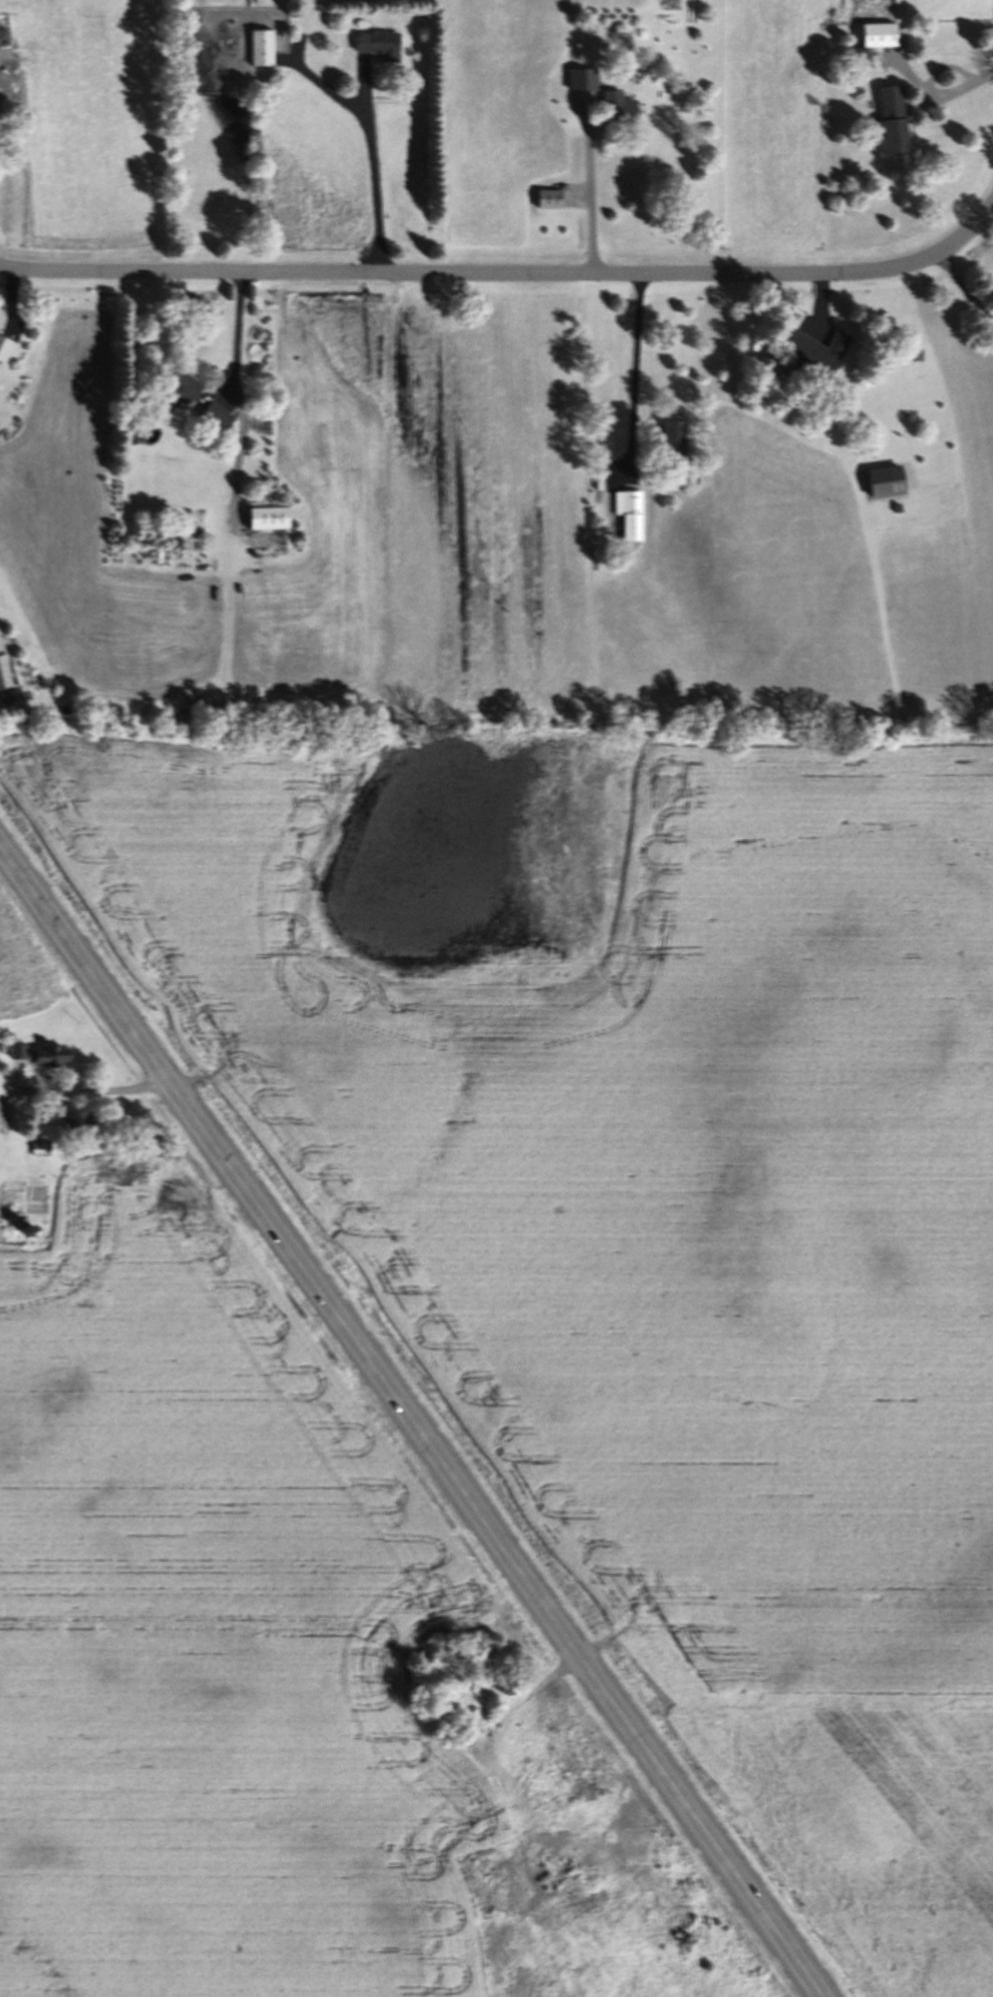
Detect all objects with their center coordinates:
building: (873, 39)
building: (378, 48)
building: (259, 51)
building: (587, 84)
road: (953, 84)
building: (611, 112)
building: (887, 124)
road: (367, 173)
road: (583, 181)
building: (547, 203)
road: (507, 273)
road: (966, 288)
road: (238, 337)
building: (2, 350)
building: (812, 356)
road: (632, 368)
building: (172, 390)
building: (214, 421)
road: (239, 447)
building: (670, 447)
building: (883, 486)
building: (629, 517)
building: (261, 522)
building: (3, 672)
building: (36, 1057)
road: (84, 1089)
building: (68, 1125)
road: (411, 1422)

